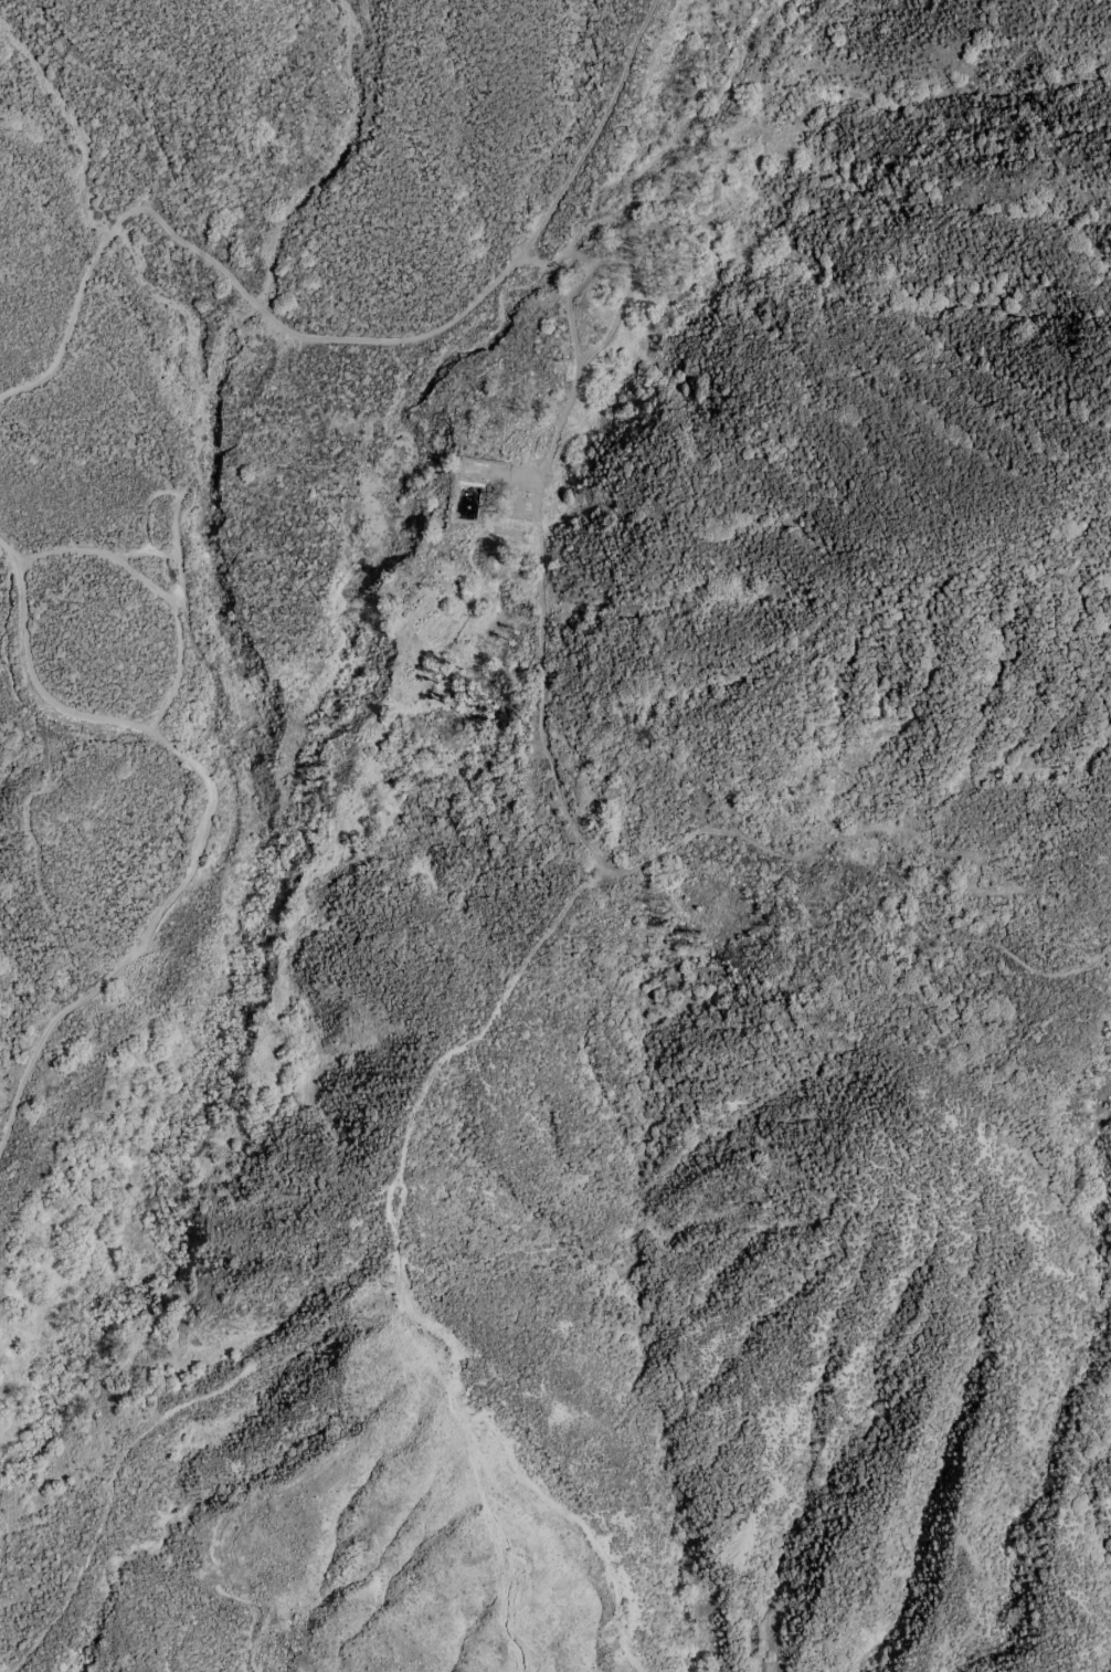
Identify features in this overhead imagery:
road: (87, 734)
road: (78, 1003)

